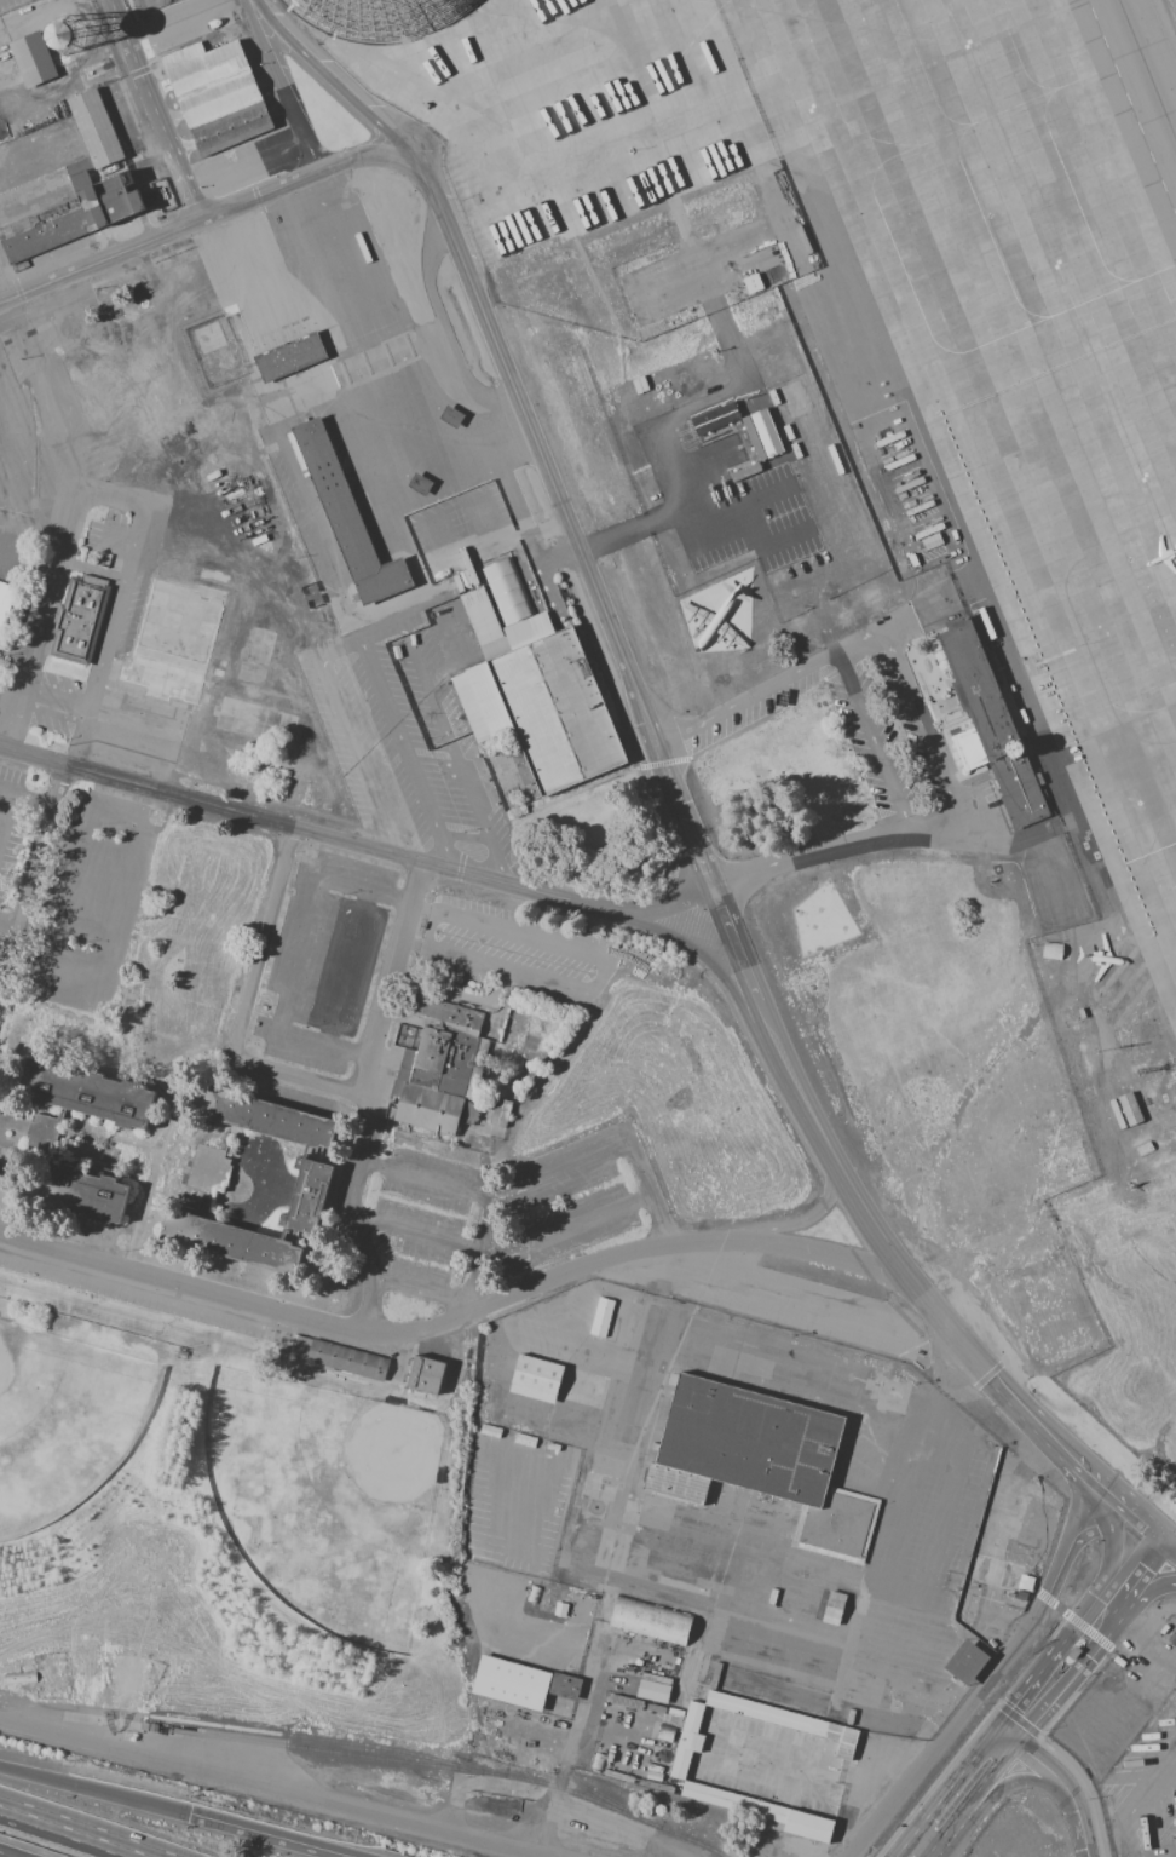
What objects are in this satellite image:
road: (167, 17)
airport hangar: (384, 17)
building: (384, 17)
parking lot: (190, 21)
building: (65, 36)
water tower: (65, 36)
building: (33, 59)
airport taxiway: (1148, 68)
road: (286, 86)
building: (218, 92)
road: (350, 97)
road: (158, 110)
parking lot: (247, 161)
building: (83, 184)
building: (166, 191)
road: (161, 238)
building: (750, 283)
airport apron: (897, 287)
road: (2, 295)
road: (448, 337)
parking lot: (289, 353)
building: (288, 356)
airport: (915, 409)
building: (714, 418)
building: (761, 435)
parking lot: (732, 477)
road: (784, 506)
building: (342, 511)
road: (137, 512)
road: (74, 522)
road: (29, 565)
road: (93, 569)
building: (494, 604)
building: (6, 611)
building: (717, 616)
road: (111, 617)
building: (80, 621)
road: (353, 639)
road: (771, 686)
road: (11, 692)
road: (56, 695)
building: (540, 705)
road: (85, 713)
road: (921, 720)
building: (985, 723)
road: (444, 730)
parking lot: (864, 738)
road: (875, 740)
parking lot: (404, 741)
building: (523, 771)
road: (25, 795)
road: (8, 822)
parking lot: (11, 823)
road: (465, 839)
road: (357, 844)
road: (698, 847)
road: (835, 847)
road: (30, 878)
road: (8, 925)
road: (428, 932)
road: (265, 937)
building: (1049, 949)
parking lot: (515, 954)
road: (701, 956)
road: (601, 972)
building: (450, 1056)
road: (295, 1075)
building: (86, 1092)
road: (363, 1096)
building: (1128, 1108)
building: (498, 1111)
building: (266, 1117)
building: (42, 1129)
road: (161, 1146)
building: (1141, 1148)
building: (207, 1169)
road: (546, 1175)
building: (80, 1192)
building: (306, 1197)
road: (794, 1224)
building: (231, 1241)
road: (511, 1258)
road: (475, 1283)
road: (425, 1298)
building: (1056, 1312)
building: (605, 1318)
road: (455, 1321)
building: (298, 1346)
building: (345, 1361)
road: (789, 1363)
building: (425, 1372)
building: (541, 1380)
park: (63, 1425)
building: (762, 1450)
park: (322, 1501)
road: (1124, 1523)
road: (713, 1527)
park: (223, 1529)
road: (1168, 1536)
road: (1107, 1545)
building: (1024, 1581)
road: (1164, 1589)
road: (1143, 1594)
building: (831, 1608)
building: (653, 1623)
road: (1076, 1628)
road: (1148, 1640)
road: (1099, 1646)
toll booth: (1073, 1654)
building: (964, 1661)
road: (993, 1674)
building: (18, 1678)
building: (563, 1685)
building: (513, 1686)
building: (652, 1688)
road: (1018, 1720)
building: (664, 1732)
road: (1005, 1737)
railway: (327, 1742)
building: (680, 1759)
railway: (451, 1769)
road: (987, 1781)
road: (1024, 1782)
road: (269, 1784)
road: (1086, 1787)
road: (94, 1792)
road: (1063, 1792)
road: (946, 1793)
railway: (596, 1795)
traffic signals: (190, 1816)
road: (73, 1832)
road: (265, 1836)
road: (944, 1836)

